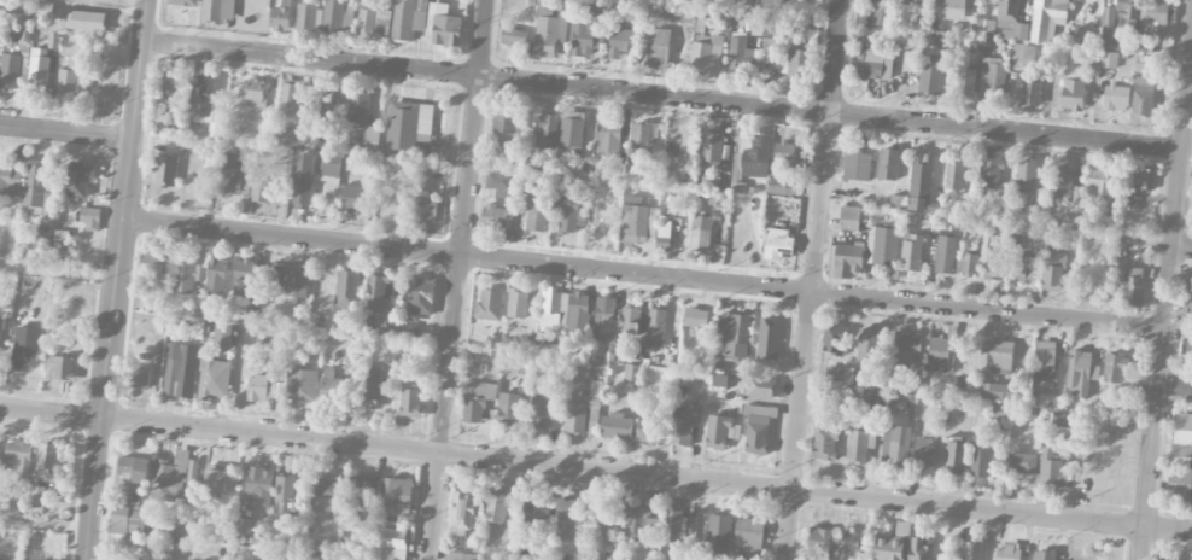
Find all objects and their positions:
road: (140, 0)
building: (867, 1)
building: (913, 1)
building: (765, 4)
building: (1127, 8)
building: (218, 10)
building: (953, 10)
building: (1157, 11)
building: (333, 16)
building: (880, 16)
building: (309, 18)
building: (408, 18)
building: (1109, 18)
building: (280, 19)
building: (1047, 19)
building: (83, 21)
building: (1011, 21)
building: (373, 22)
building: (562, 23)
building: (761, 25)
building: (443, 27)
building: (987, 28)
building: (547, 33)
building: (584, 35)
building: (866, 35)
building: (514, 36)
building: (621, 40)
building: (654, 47)
building: (706, 53)
building: (740, 53)
building: (1109, 59)
building: (795, 62)
building: (1143, 63)
building: (875, 65)
building: (37, 70)
building: (10, 71)
building: (68, 77)
building: (993, 77)
building: (930, 81)
building: (965, 82)
building: (103, 83)
building: (170, 84)
building: (253, 93)
road: (662, 94)
building: (203, 95)
building: (1073, 95)
building: (1143, 95)
building: (292, 98)
building: (1116, 98)
building: (358, 107)
road: (1190, 107)
building: (165, 123)
building: (409, 126)
building: (507, 128)
building: (572, 130)
building: (547, 132)
road: (65, 134)
building: (286, 135)
building: (643, 136)
building: (372, 139)
building: (608, 140)
building: (689, 144)
building: (712, 147)
building: (784, 153)
building: (245, 154)
building: (753, 159)
building: (331, 164)
building: (888, 164)
building: (857, 165)
building: (991, 165)
building: (601, 170)
building: (165, 171)
building: (632, 173)
building: (954, 174)
building: (230, 176)
building: (922, 176)
building: (1027, 176)
building: (10, 179)
building: (78, 179)
building: (1144, 179)
building: (303, 181)
building: (498, 181)
building: (1100, 181)
building: (711, 182)
building: (1062, 183)
building: (781, 186)
building: (35, 187)
building: (263, 192)
building: (353, 199)
building: (714, 199)
building: (425, 205)
building: (536, 208)
building: (48, 209)
building: (567, 214)
building: (497, 217)
building: (90, 218)
building: (849, 218)
building: (638, 222)
building: (701, 233)
building: (664, 234)
building: (43, 238)
building: (60, 240)
building: (778, 244)
building: (882, 246)
road: (1182, 247)
building: (912, 252)
building: (946, 255)
building: (845, 261)
building: (970, 263)
building: (154, 267)
building: (993, 267)
building: (1023, 268)
building: (1052, 270)
road: (58, 272)
road: (643, 274)
building: (187, 275)
building: (216, 275)
building: (290, 275)
building: (244, 278)
road: (115, 279)
road: (456, 280)
road: (812, 280)
building: (1133, 286)
building: (1190, 287)
building: (346, 288)
building: (375, 291)
building: (419, 299)
building: (518, 303)
building: (489, 304)
road: (1165, 309)
building: (553, 310)
building: (1190, 310)
building: (577, 313)
building: (695, 317)
building: (630, 320)
building: (391, 321)
building: (655, 327)
building: (408, 331)
building: (734, 334)
building: (222, 337)
building: (834, 339)
building: (769, 340)
building: (869, 343)
building: (906, 345)
building: (25, 348)
building: (550, 349)
building: (939, 354)
building: (997, 355)
building: (1045, 367)
building: (1115, 367)
building: (59, 368)
building: (596, 368)
building: (180, 371)
building: (632, 373)
building: (369, 374)
building: (1081, 374)
building: (840, 375)
building: (140, 378)
building: (214, 379)
building: (719, 380)
building: (329, 384)
building: (300, 385)
building: (915, 385)
building: (261, 387)
building: (760, 387)
road: (1175, 390)
building: (999, 392)
building: (367, 395)
building: (477, 399)
building: (873, 401)
building: (411, 402)
building: (582, 408)
building: (509, 409)
building: (998, 412)
building: (541, 413)
building: (592, 421)
building: (683, 424)
building: (615, 426)
building: (1182, 428)
building: (649, 430)
building: (758, 430)
building: (718, 431)
building: (824, 442)
building: (858, 445)
building: (895, 445)
building: (923, 453)
building: (954, 456)
building: (981, 456)
building: (17, 460)
building: (46, 462)
building: (1021, 463)
road: (596, 468)
building: (1054, 468)
building: (134, 469)
building: (175, 477)
building: (216, 478)
building: (1179, 483)
building: (258, 485)
building: (285, 490)
building: (39, 491)
building: (323, 495)
building: (396, 497)
building: (355, 498)
building: (496, 507)
building: (534, 511)
building: (462, 513)
building: (566, 515)
building: (125, 519)
building: (671, 523)
building: (635, 524)
building: (244, 526)
road: (45, 527)
building: (297, 530)
building: (601, 530)
building: (748, 535)
building: (156, 536)
building: (718, 536)
building: (892, 543)
building: (392, 544)
building: (819, 544)
building: (847, 544)
building: (919, 549)
building: (971, 550)
building: (1007, 552)
building: (452, 555)
building: (1044, 555)
building: (1167, 558)
building: (199, 559)

